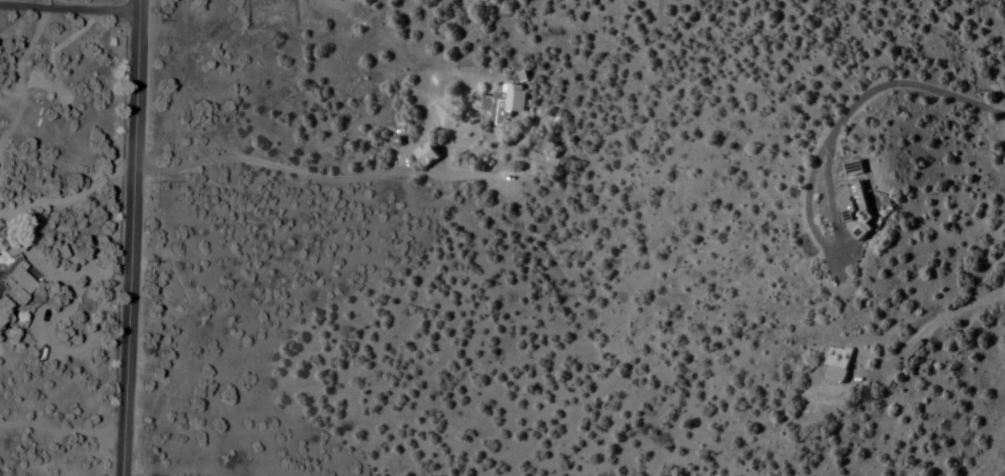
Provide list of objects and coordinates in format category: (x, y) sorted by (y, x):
road: (872, 95)
building: (515, 100)
building: (494, 107)
building: (545, 154)
building: (425, 155)
road: (210, 160)
road: (139, 238)
building: (12, 290)
road: (947, 316)

